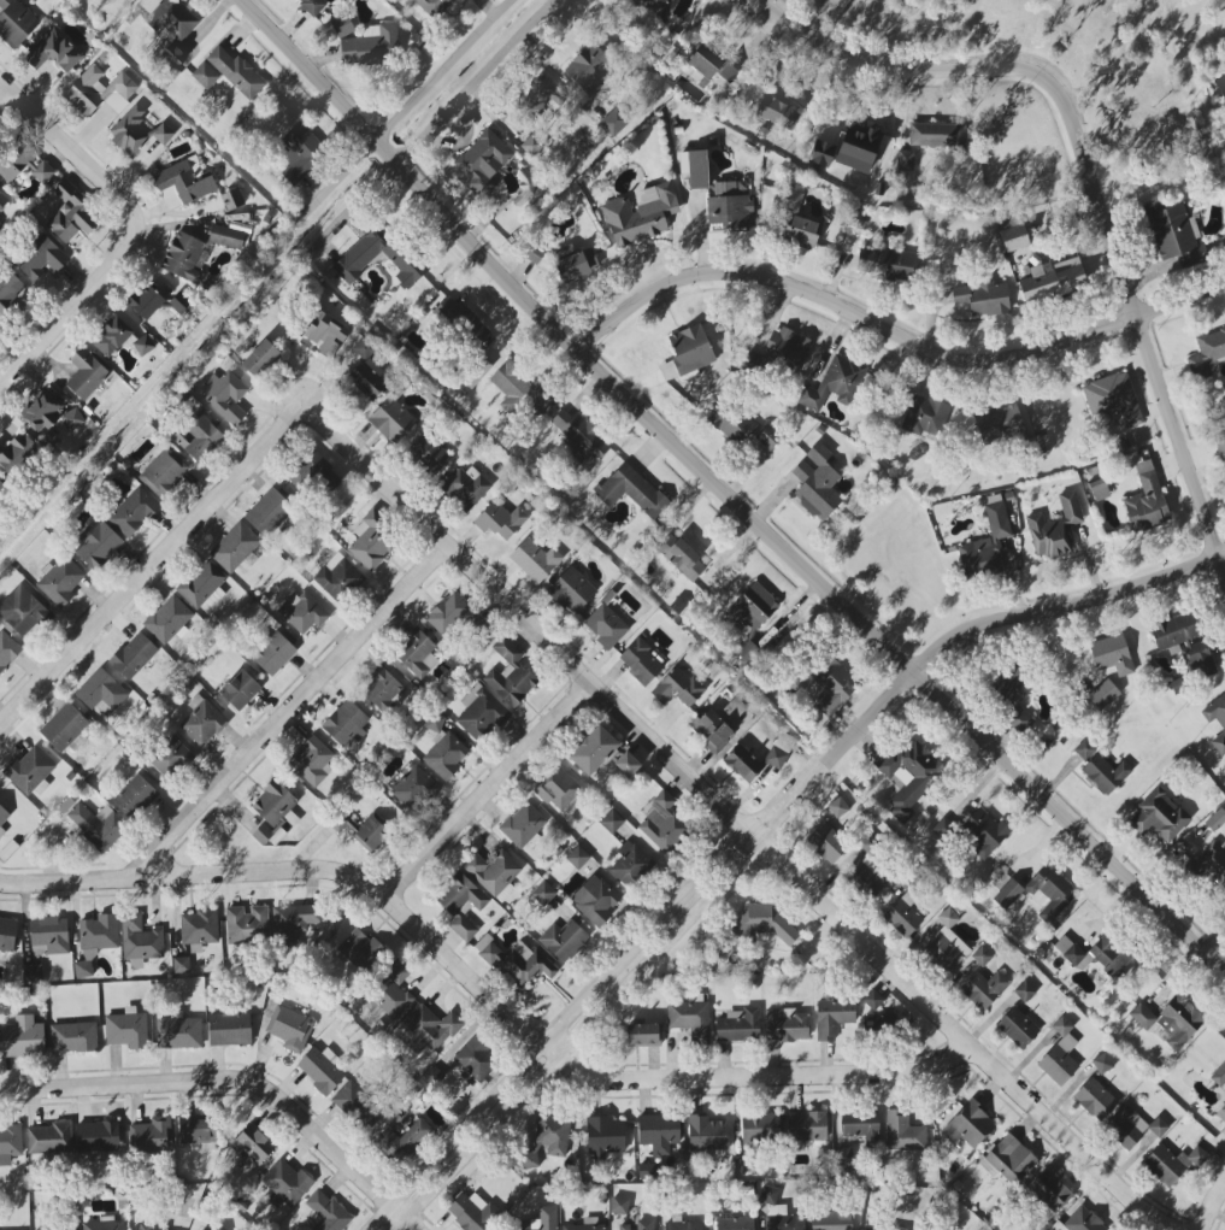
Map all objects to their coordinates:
building: (313, 5)
building: (432, 7)
building: (16, 22)
building: (172, 28)
building: (364, 41)
building: (53, 51)
building: (711, 65)
building: (588, 67)
road: (443, 70)
building: (226, 72)
road: (476, 81)
building: (100, 92)
building: (540, 93)
road: (4, 96)
building: (777, 113)
building: (616, 120)
building: (136, 131)
building: (936, 135)
building: (858, 147)
building: (824, 149)
road: (73, 152)
building: (301, 152)
building: (482, 161)
building: (23, 163)
road: (1088, 165)
road: (341, 176)
building: (185, 181)
building: (524, 187)
building: (790, 195)
building: (231, 199)
building: (2, 200)
building: (722, 202)
building: (70, 213)
building: (640, 216)
building: (1171, 229)
building: (801, 233)
building: (225, 236)
building: (1014, 237)
building: (41, 258)
building: (183, 258)
building: (357, 259)
building: (890, 264)
building: (576, 265)
building: (1052, 281)
building: (10, 293)
building: (983, 299)
building: (155, 302)
road: (75, 314)
building: (459, 322)
road: (901, 334)
building: (326, 335)
building: (120, 339)
building: (691, 348)
building: (787, 348)
building: (1207, 353)
building: (259, 359)
building: (367, 370)
building: (86, 373)
building: (834, 383)
building: (520, 393)
building: (225, 394)
building: (1113, 398)
building: (49, 414)
building: (924, 417)
building: (391, 419)
building: (729, 422)
building: (1008, 429)
building: (198, 436)
building: (579, 436)
building: (767, 436)
building: (1220, 443)
building: (16, 453)
building: (429, 453)
building: (163, 472)
building: (319, 472)
building: (817, 482)
building: (1, 487)
building: (464, 487)
road: (732, 489)
building: (1099, 489)
building: (631, 490)
building: (1146, 500)
building: (131, 511)
building: (269, 512)
building: (500, 520)
building: (1055, 529)
building: (985, 545)
building: (96, 546)
building: (234, 547)
building: (681, 557)
building: (535, 560)
road: (154, 569)
building: (337, 577)
building: (60, 582)
building: (202, 585)
building: (571, 590)
building: (752, 607)
building: (20, 610)
building: (302, 612)
building: (446, 616)
building: (169, 620)
building: (608, 622)
building: (1185, 643)
building: (7, 651)
building: (271, 652)
building: (416, 653)
building: (132, 655)
building: (1111, 655)
building: (641, 660)
building: (510, 673)
building: (1006, 681)
building: (832, 685)
building: (382, 687)
building: (677, 688)
building: (240, 690)
building: (101, 693)
building: (1102, 694)
road: (295, 705)
building: (734, 710)
building: (479, 713)
building: (1019, 718)
building: (201, 720)
building: (346, 723)
building: (63, 726)
building: (1223, 728)
building: (711, 730)
building: (1084, 749)
building: (594, 751)
building: (777, 753)
building: (446, 755)
building: (170, 757)
building: (311, 760)
building: (626, 764)
building: (29, 771)
building: (1105, 773)
building: (908, 775)
building: (413, 789)
road: (489, 789)
building: (559, 790)
building: (134, 795)
building: (837, 807)
building: (272, 813)
building: (2, 816)
building: (1158, 817)
building: (611, 820)
road: (738, 820)
building: (523, 824)
building: (661, 824)
building: (98, 825)
building: (1, 831)
building: (372, 831)
road: (768, 832)
building: (984, 832)
building: (825, 843)
building: (577, 857)
building: (1209, 863)
building: (630, 865)
road: (310, 870)
building: (493, 873)
building: (868, 877)
building: (542, 893)
building: (1049, 893)
building: (594, 901)
building: (460, 904)
building: (902, 916)
building: (294, 923)
building: (247, 924)
building: (762, 924)
building: (199, 926)
building: (98, 932)
building: (7, 934)
building: (49, 935)
building: (139, 940)
building: (563, 940)
building: (944, 944)
building: (360, 951)
building: (1071, 952)
building: (982, 955)
building: (1109, 955)
building: (516, 961)
building: (179, 965)
building: (82, 969)
building: (33, 973)
building: (983, 988)
building: (390, 990)
building: (1024, 991)
building: (872, 1000)
building: (1142, 1016)
building: (832, 1017)
building: (690, 1019)
building: (1179, 1022)
building: (738, 1025)
building: (785, 1025)
building: (229, 1028)
building: (289, 1028)
building: (1017, 1028)
building: (126, 1029)
building: (428, 1029)
building: (178, 1032)
building: (642, 1035)
building: (22, 1037)
building: (72, 1037)
building: (1059, 1054)
building: (476, 1060)
building: (1102, 1064)
building: (319, 1071)
building: (431, 1075)
road: (762, 1076)
building: (1219, 1076)
road: (237, 1081)
building: (1094, 1099)
building: (355, 1102)
building: (1221, 1113)
building: (968, 1125)
building: (807, 1126)
building: (860, 1126)
building: (1131, 1126)
building: (760, 1128)
building: (196, 1131)
building: (902, 1131)
building: (659, 1132)
building: (706, 1134)
building: (151, 1136)
building: (603, 1136)
building: (49, 1138)
building: (96, 1138)
building: (547, 1140)
building: (402, 1142)
building: (10, 1143)
building: (252, 1143)
building: (842, 1158)
building: (1009, 1160)
building: (1171, 1163)
building: (742, 1164)
building: (287, 1182)
building: (1048, 1193)
building: (619, 1206)
road: (1212, 1207)
building: (325, 1212)
building: (471, 1212)
building: (778, 1213)
building: (541, 1219)
building: (731, 1220)
building: (1080, 1222)
building: (829, 1223)
building: (587, 1224)
building: (104, 1225)
building: (638, 1225)
building: (682, 1225)
building: (149, 1226)
building: (200, 1228)
building: (214, 1228)
building: (75, 1229)
building: (868, 1229)

